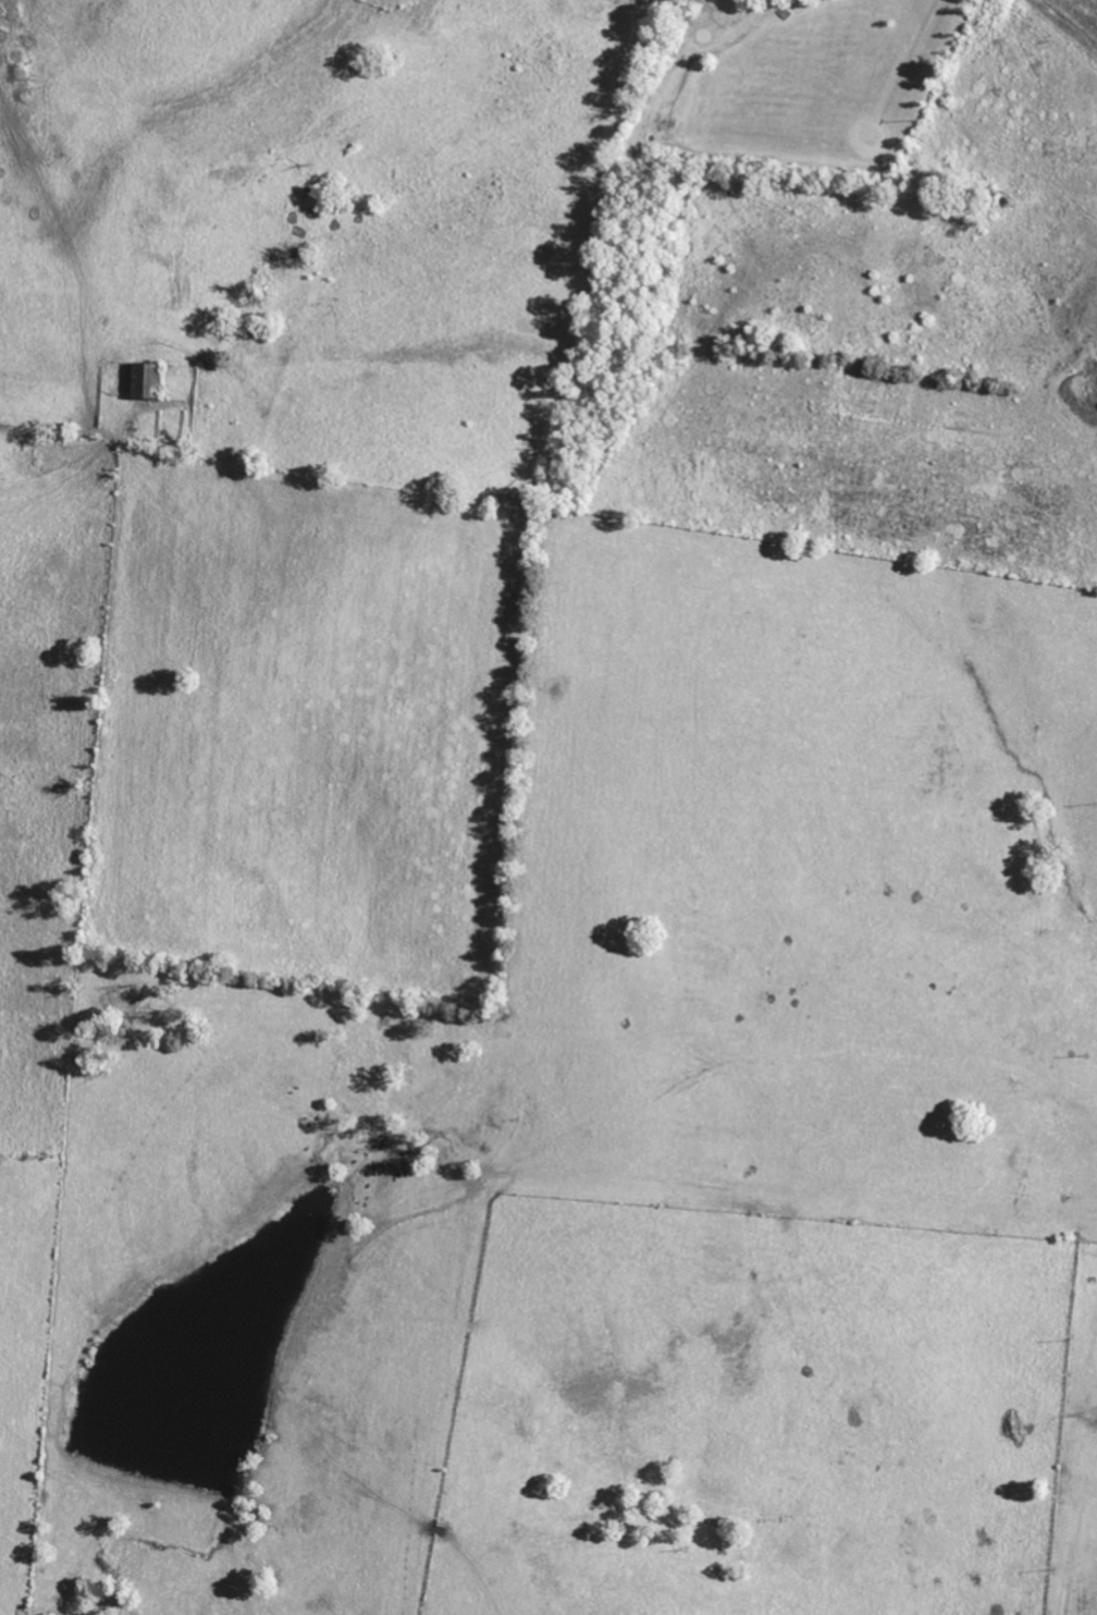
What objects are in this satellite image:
road: (9, 70)
building: (144, 380)

